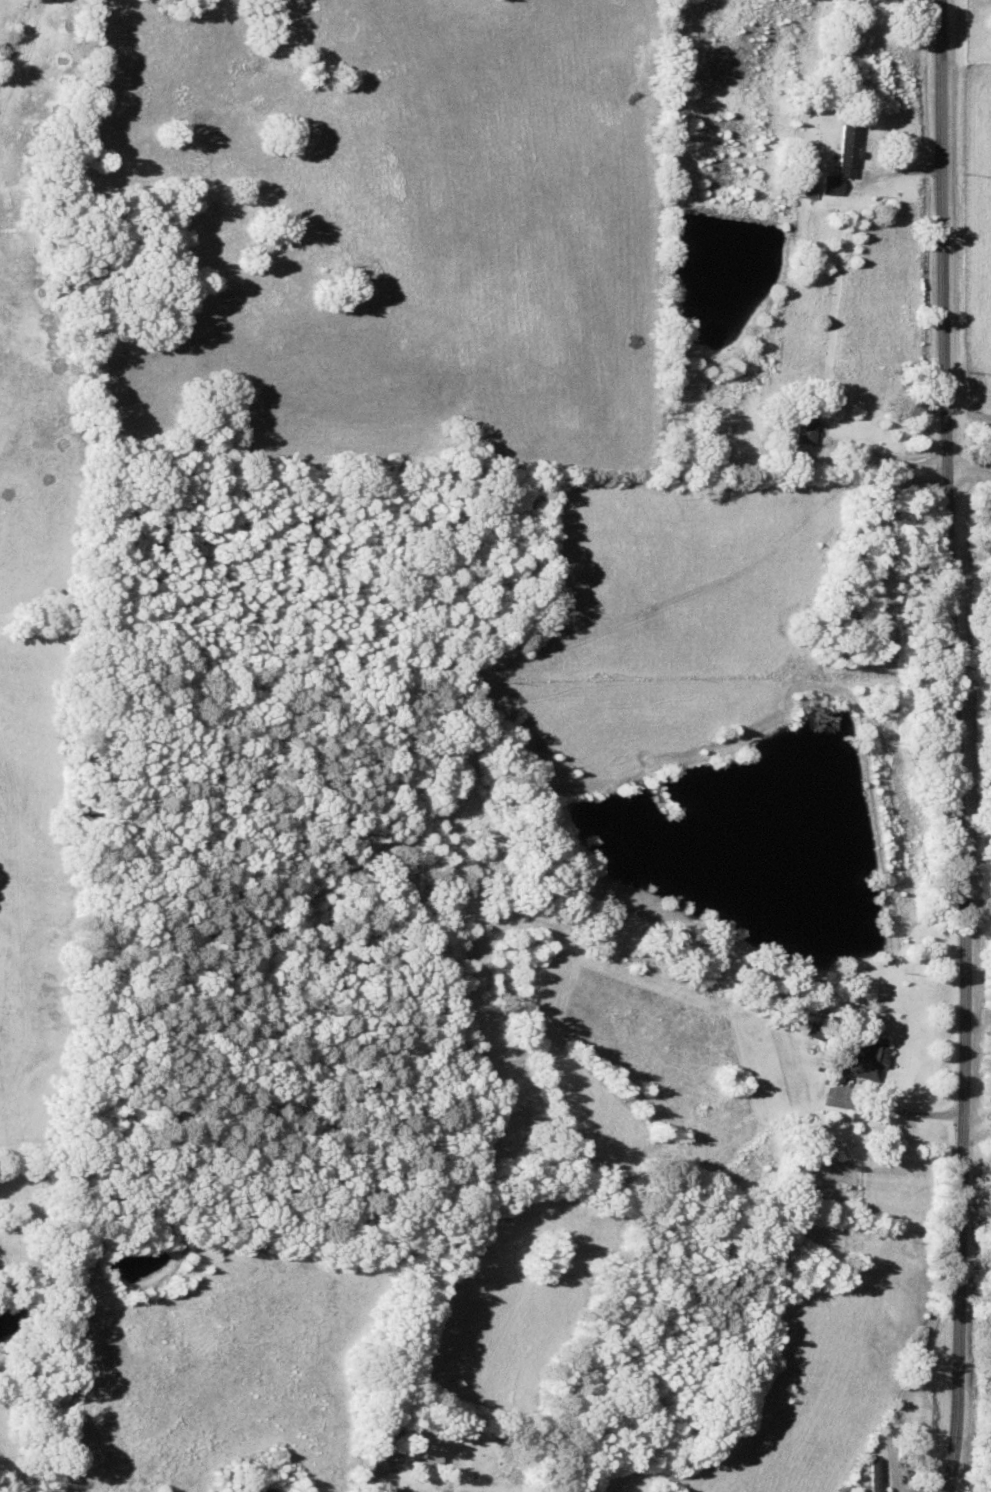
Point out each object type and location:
building: (844, 160)
building: (806, 430)
road: (568, 732)
road: (920, 746)
building: (866, 1059)
building: (432, 1450)
building: (876, 1475)

